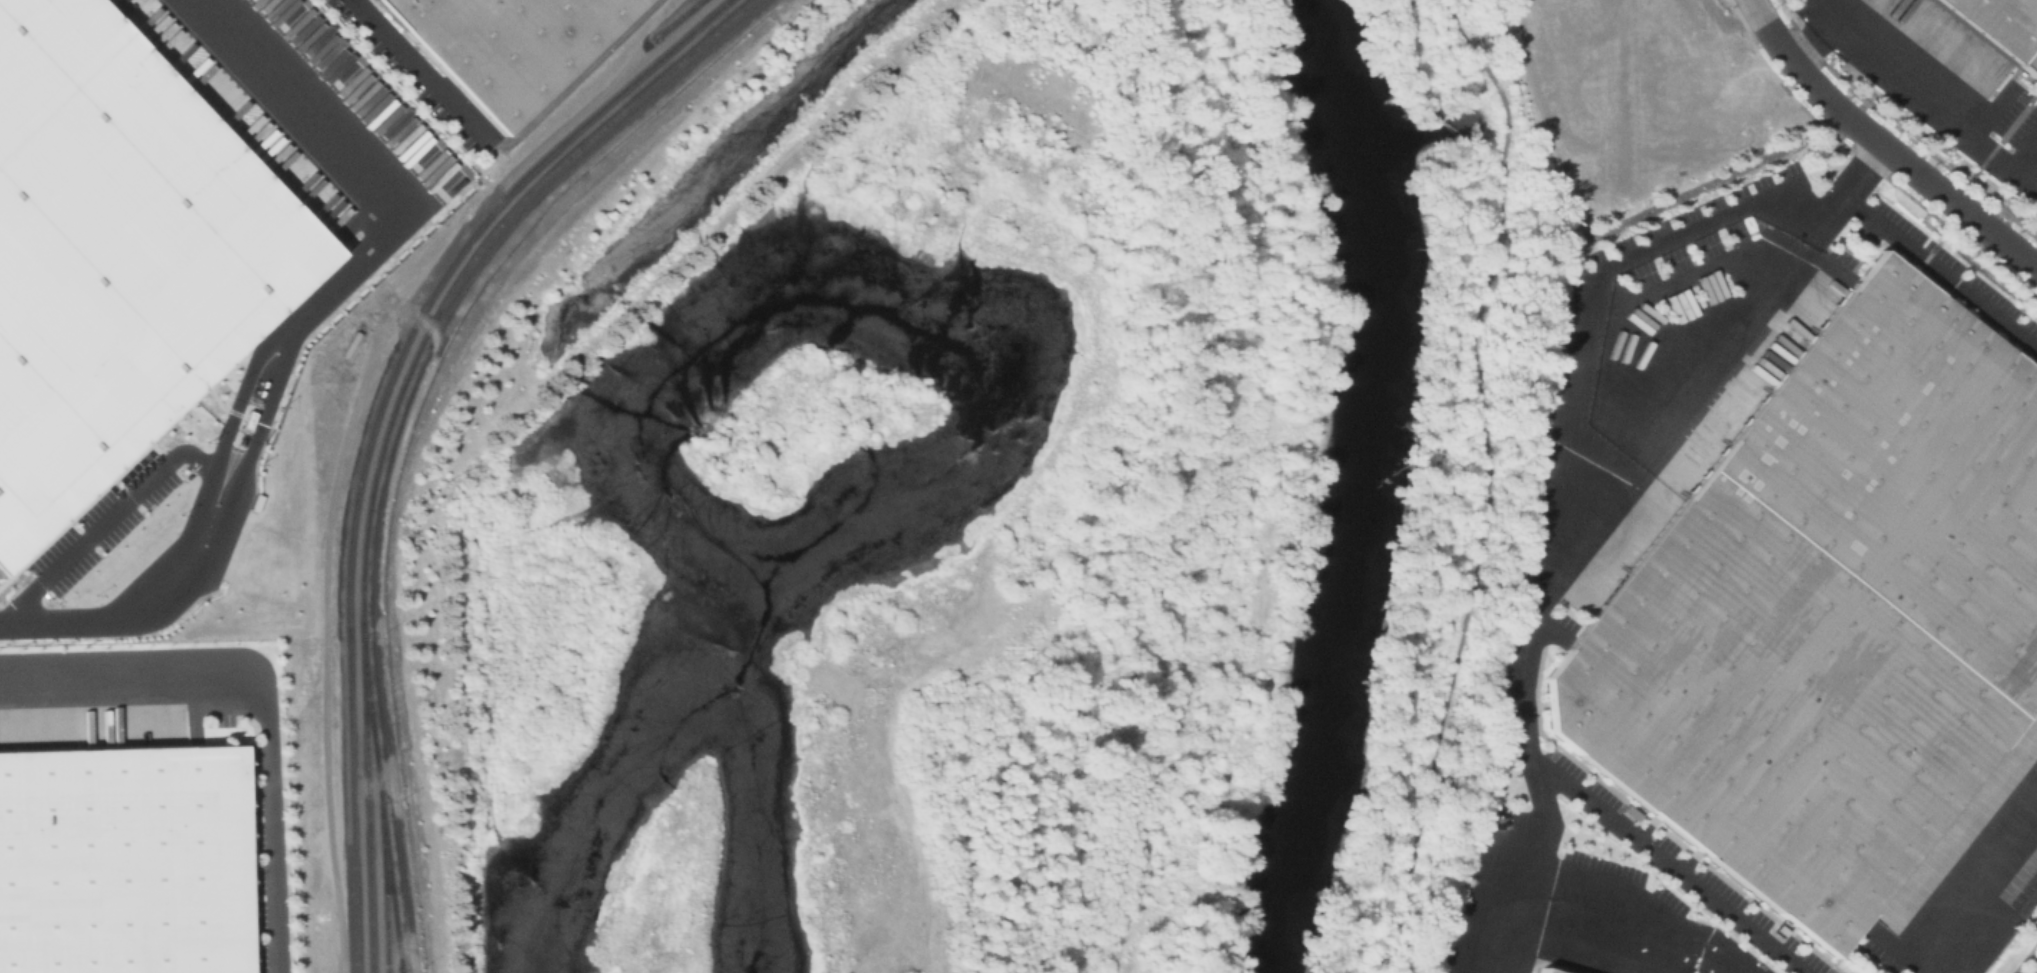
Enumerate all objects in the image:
railway: (680, 19)
road: (1770, 28)
building: (1998, 30)
building: (509, 45)
road: (1918, 72)
road: (1908, 165)
road: (1864, 172)
building: (116, 253)
road: (1940, 273)
road: (1583, 305)
road: (307, 337)
road: (430, 412)
railway: (390, 416)
railway: (376, 417)
road: (1491, 482)
road: (118, 526)
road: (1534, 598)
building: (1827, 616)
road: (265, 692)
railway: (381, 803)
road: (1539, 841)
building: (121, 862)
railway: (384, 886)
road: (1974, 887)
road: (1562, 931)
building: (1544, 970)
railway: (402, 971)
building: (1529, 971)

